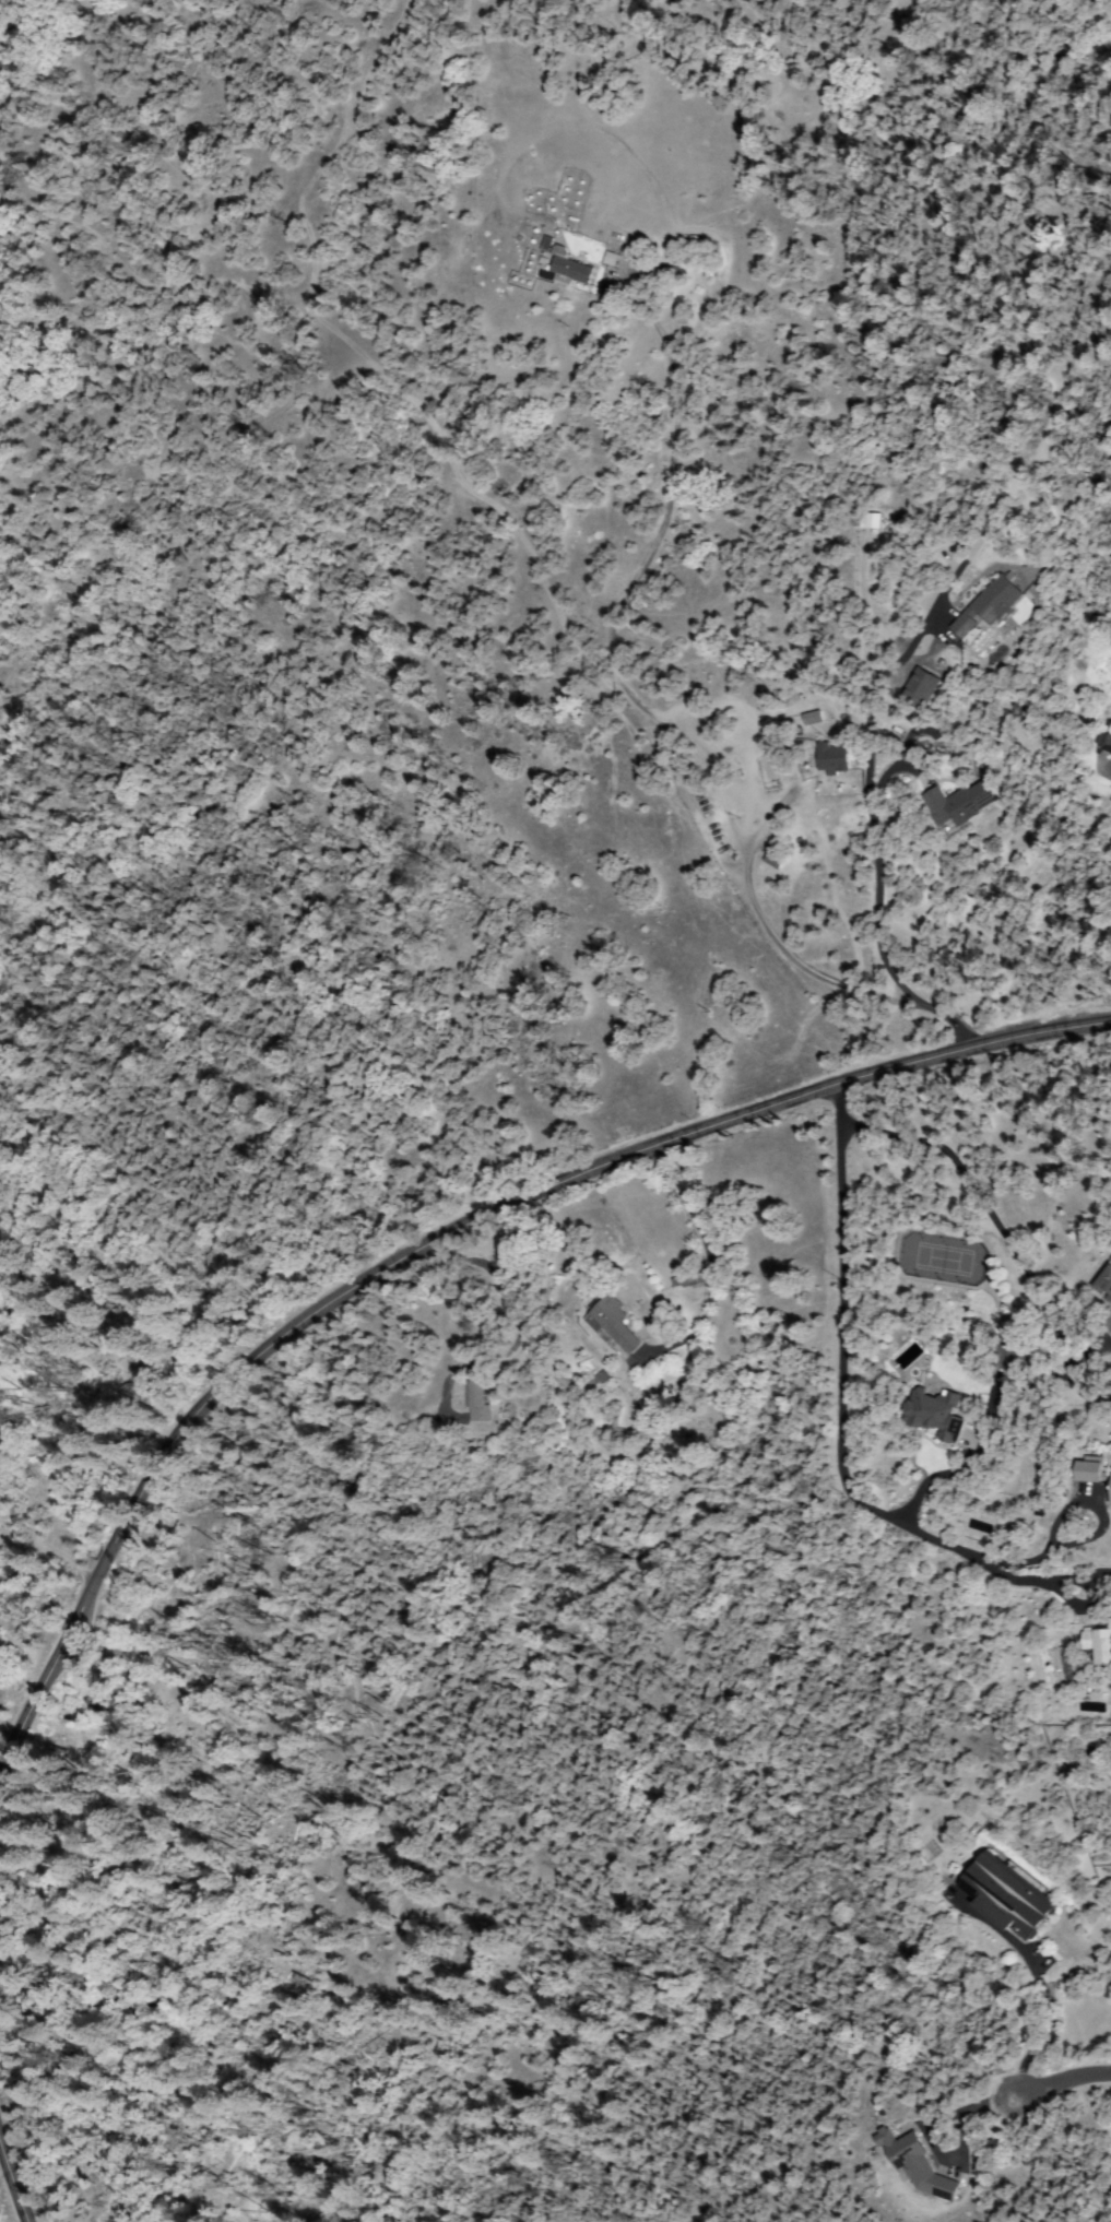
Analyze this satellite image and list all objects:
building: (547, 243)
building: (612, 259)
building: (569, 268)
building: (871, 521)
building: (990, 606)
building: (932, 673)
building: (918, 687)
building: (813, 718)
building: (1107, 741)
building: (834, 759)
building: (962, 804)
building: (778, 858)
road: (421, 1242)
building: (688, 1280)
building: (1106, 1283)
building: (1109, 1321)
building: (612, 1324)
building: (1010, 1359)
building: (478, 1402)
building: (936, 1414)
building: (1091, 1470)
building: (1110, 1487)
building: (1100, 1642)
building: (1008, 1895)
road: (889, 2139)
building: (918, 2165)
road: (5, 2201)

